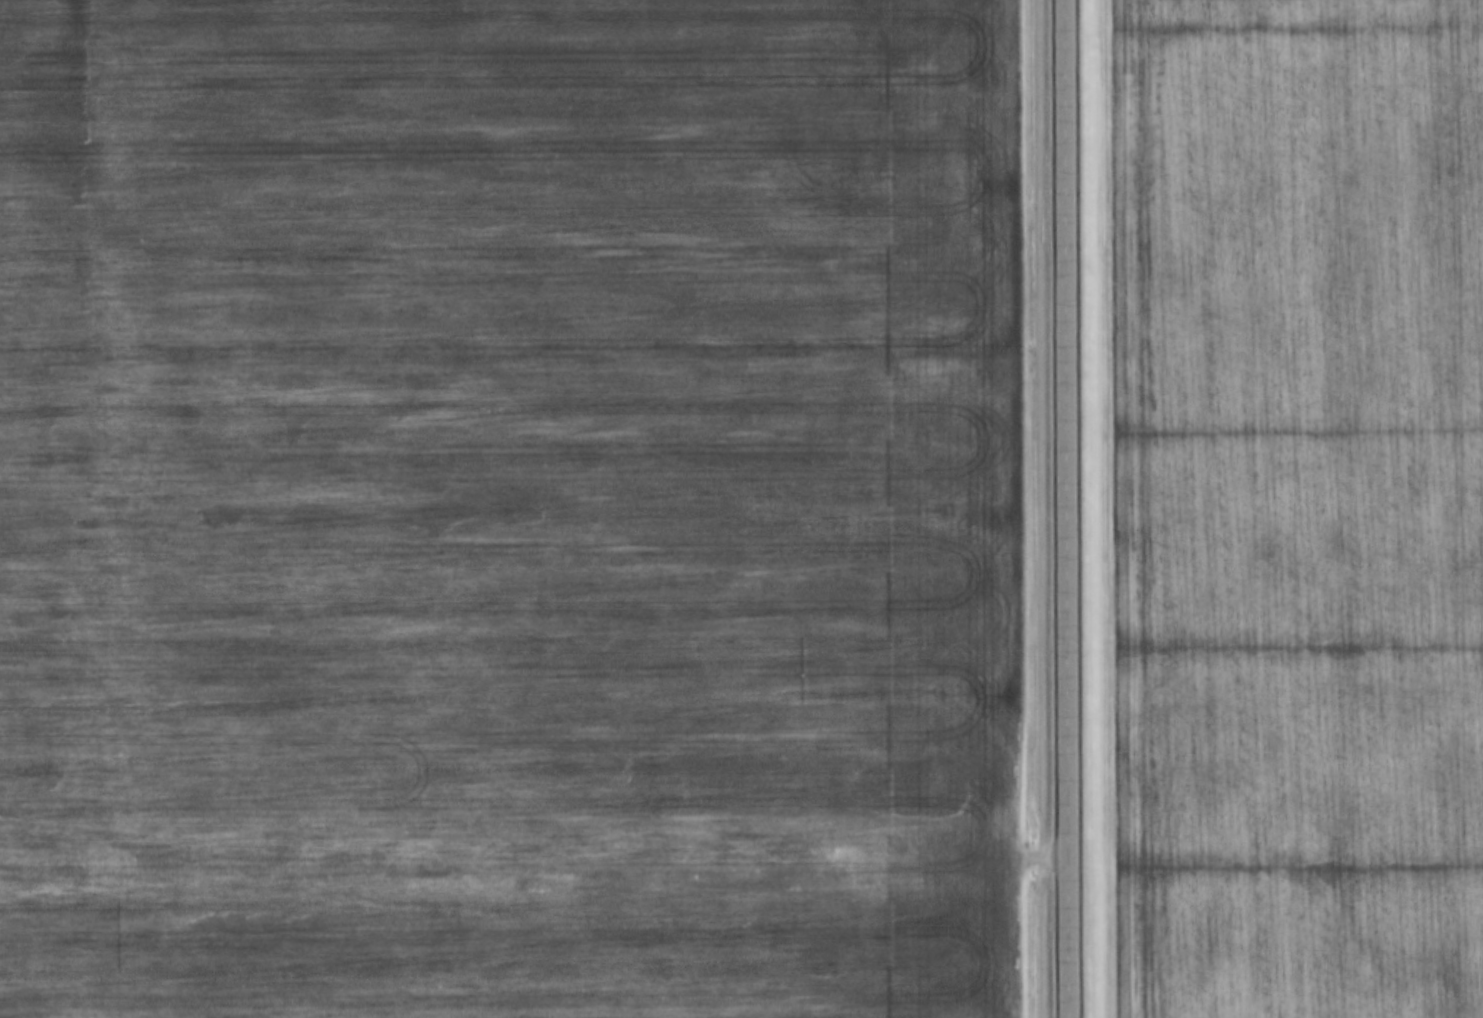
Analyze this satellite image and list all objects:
road: (1071, 509)

